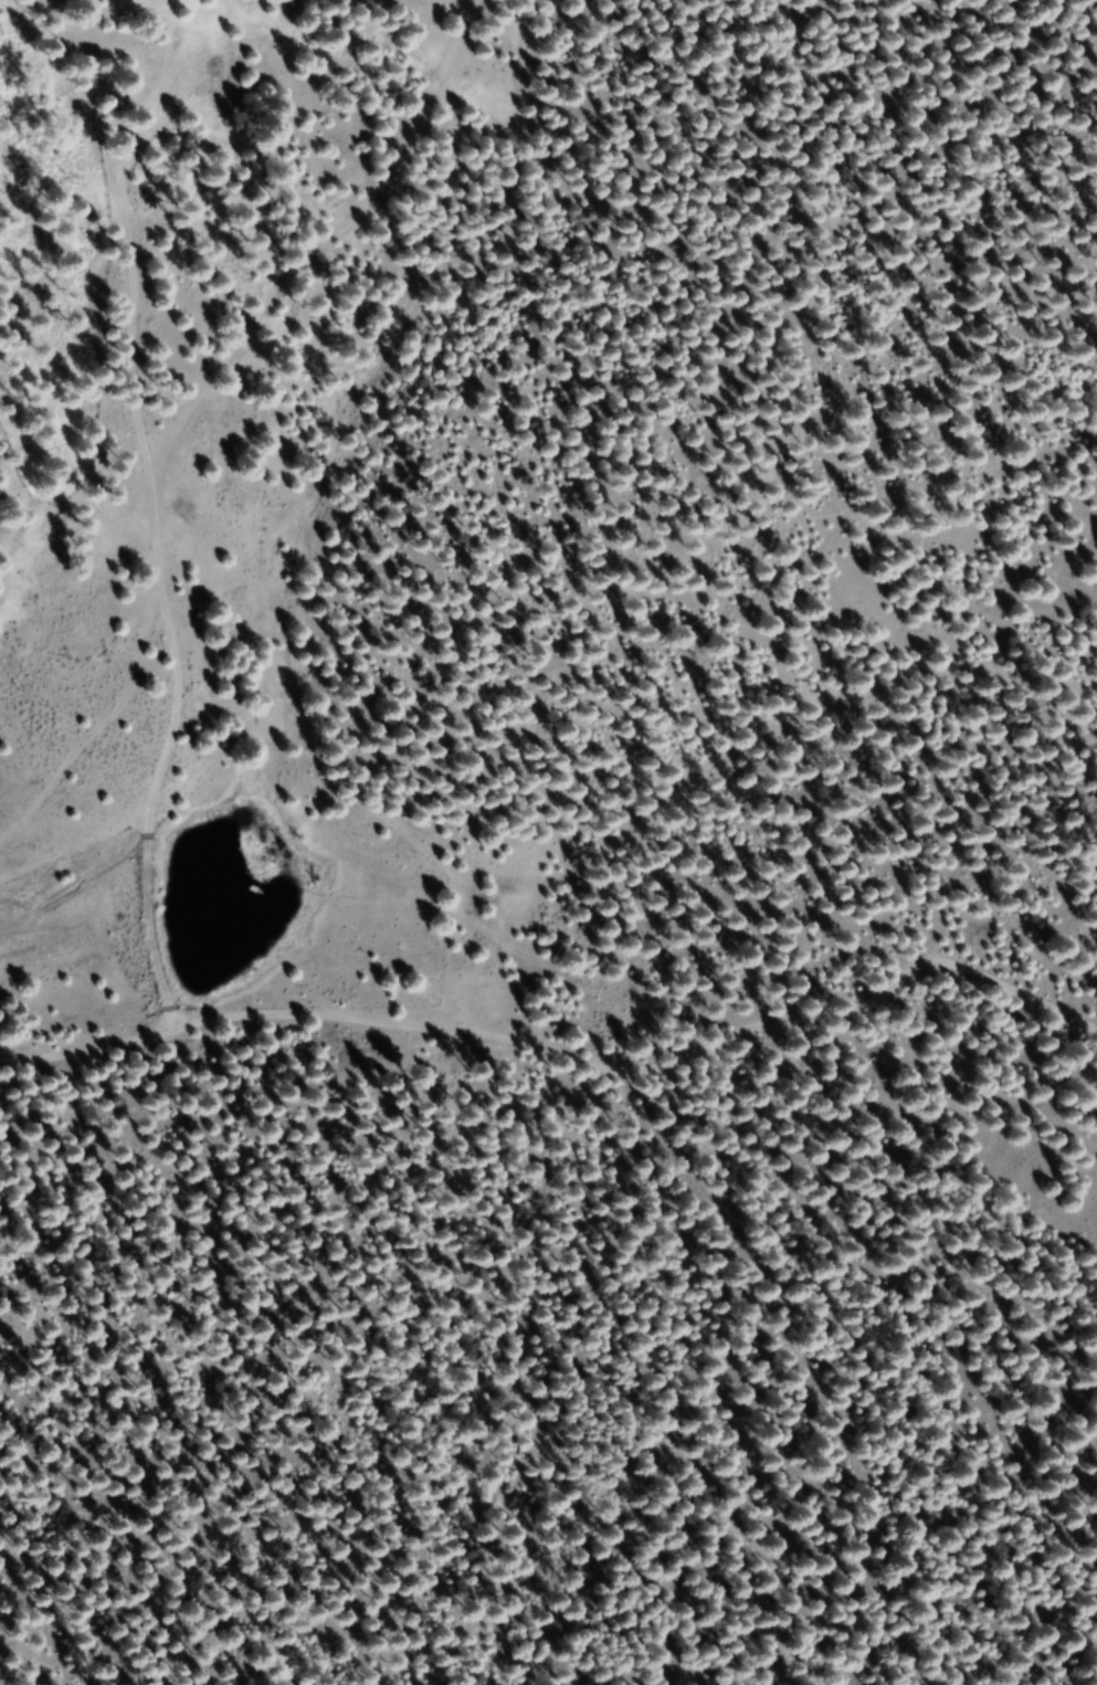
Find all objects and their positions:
road: (555, 1046)

